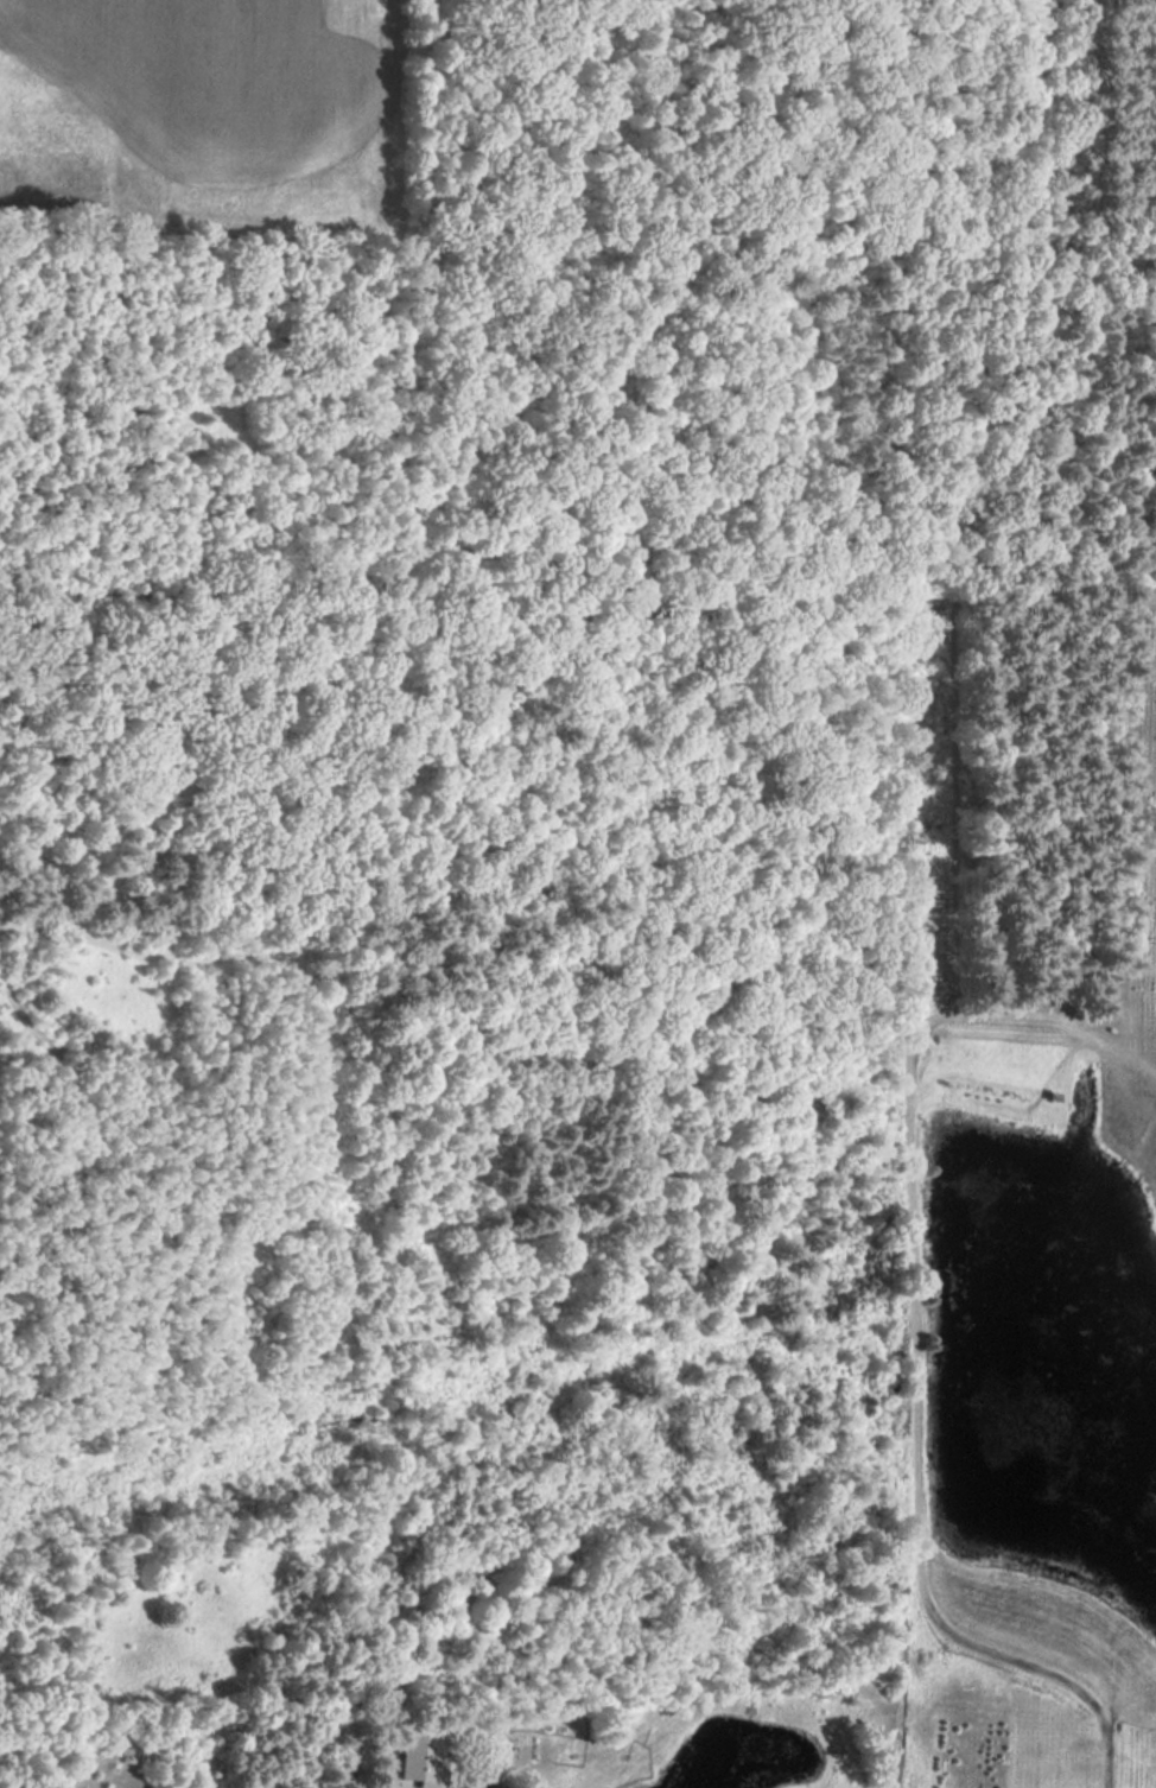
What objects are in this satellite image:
road: (913, 1400)
building: (420, 1758)

